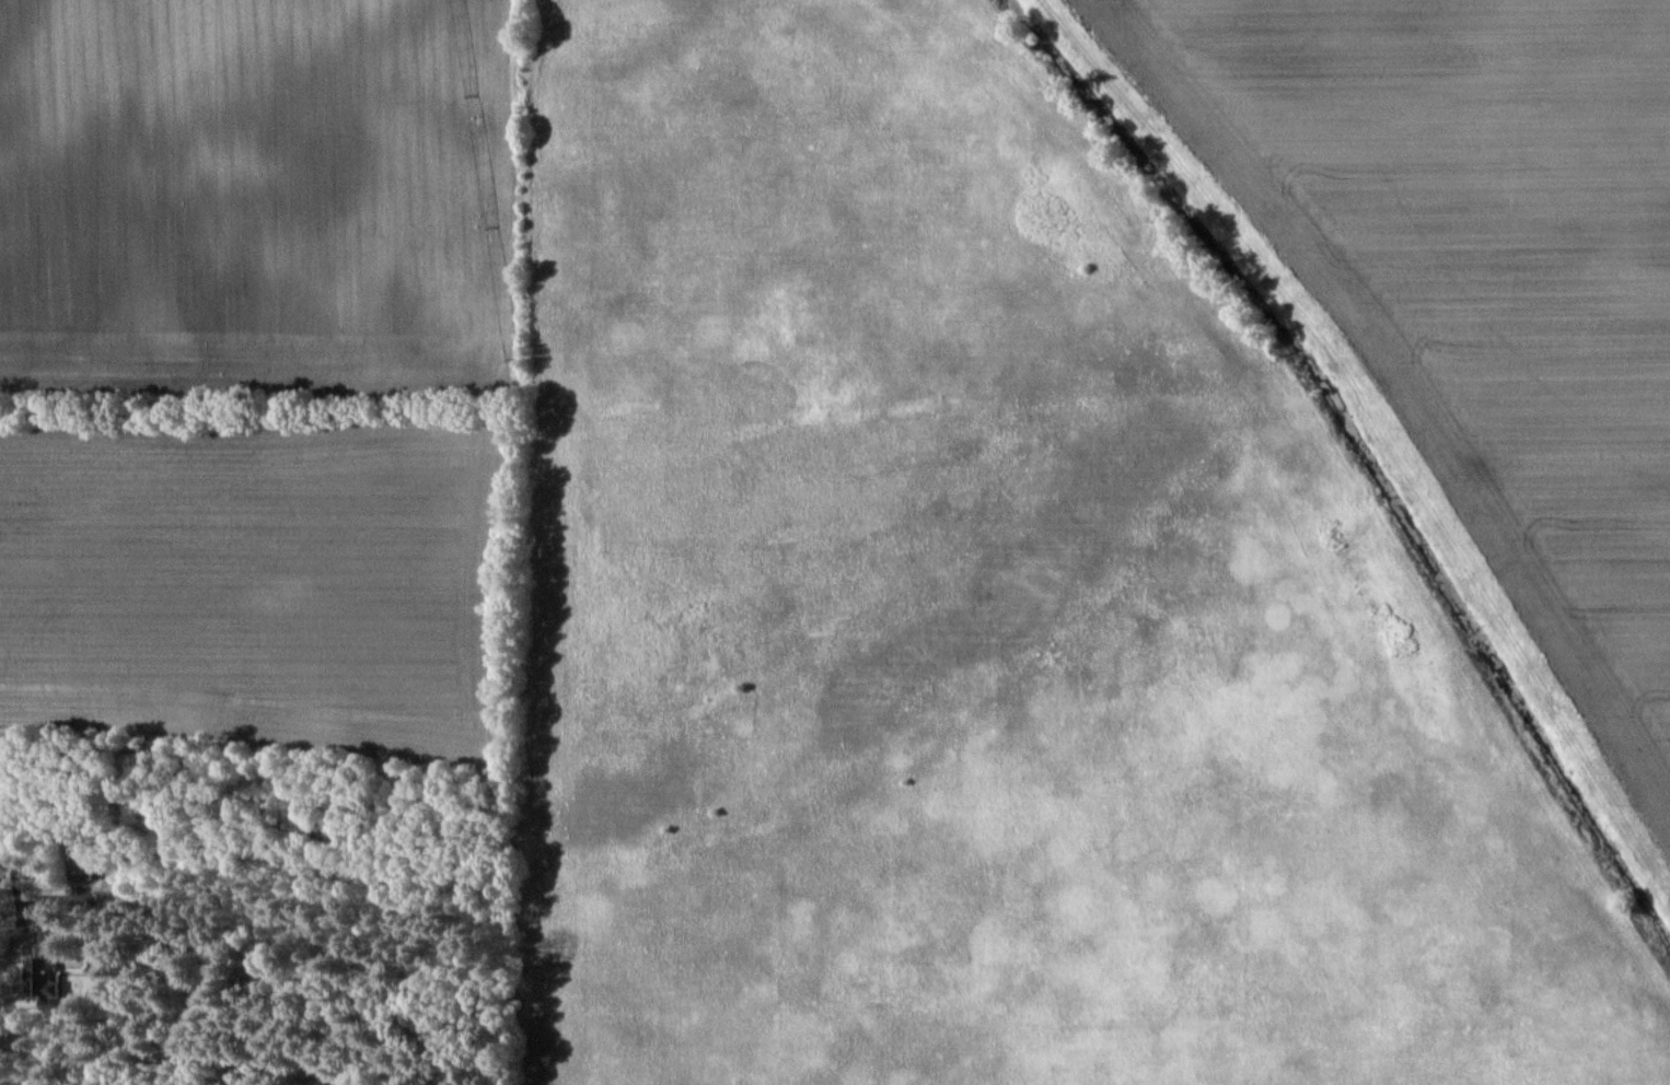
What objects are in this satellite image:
building: (80, 860)
road: (18, 899)
building: (44, 966)

